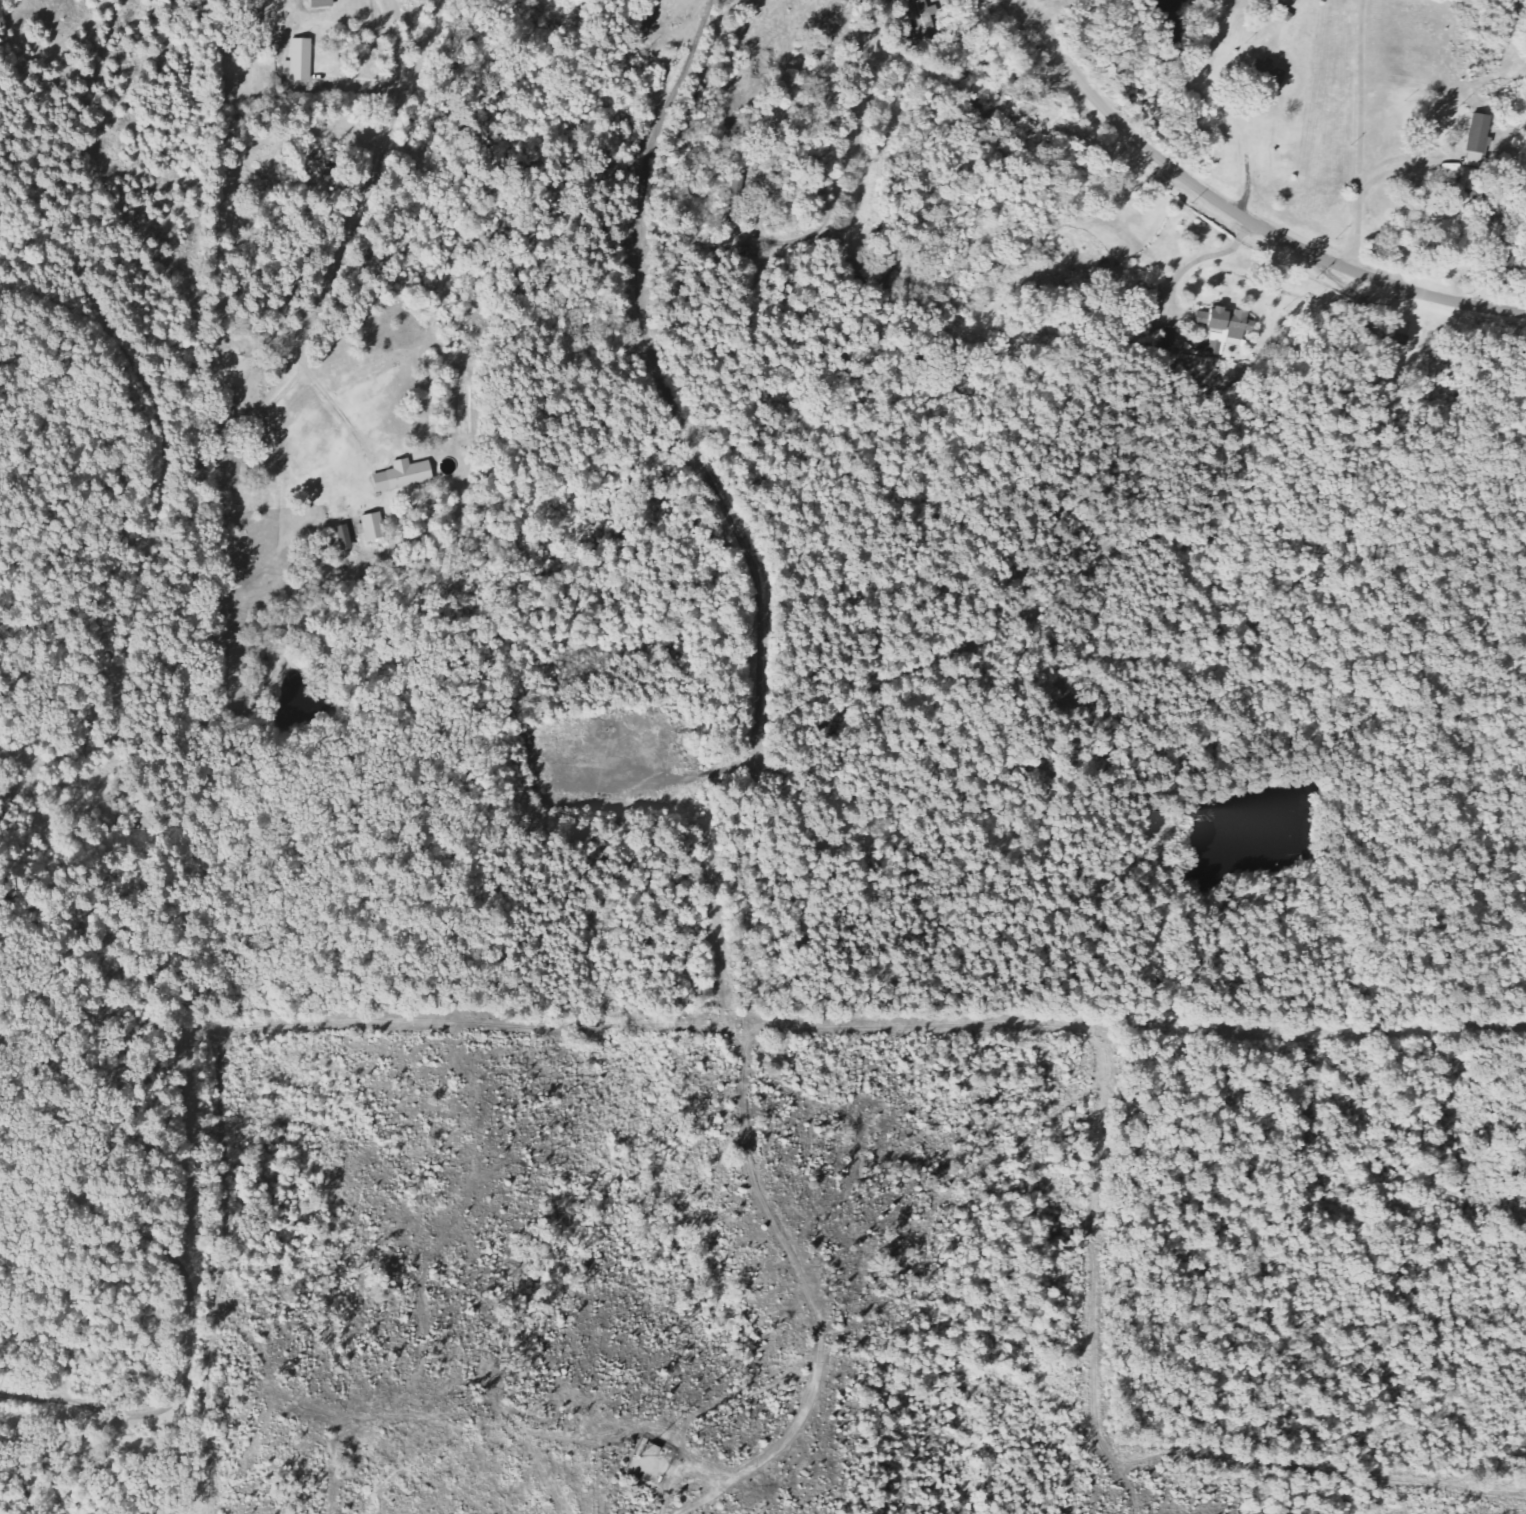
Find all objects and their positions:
building: (325, 3)
building: (299, 57)
building: (1269, 72)
building: (1482, 133)
road: (1360, 134)
road: (1236, 211)
road: (345, 239)
building: (406, 472)
building: (375, 526)
building: (345, 537)

